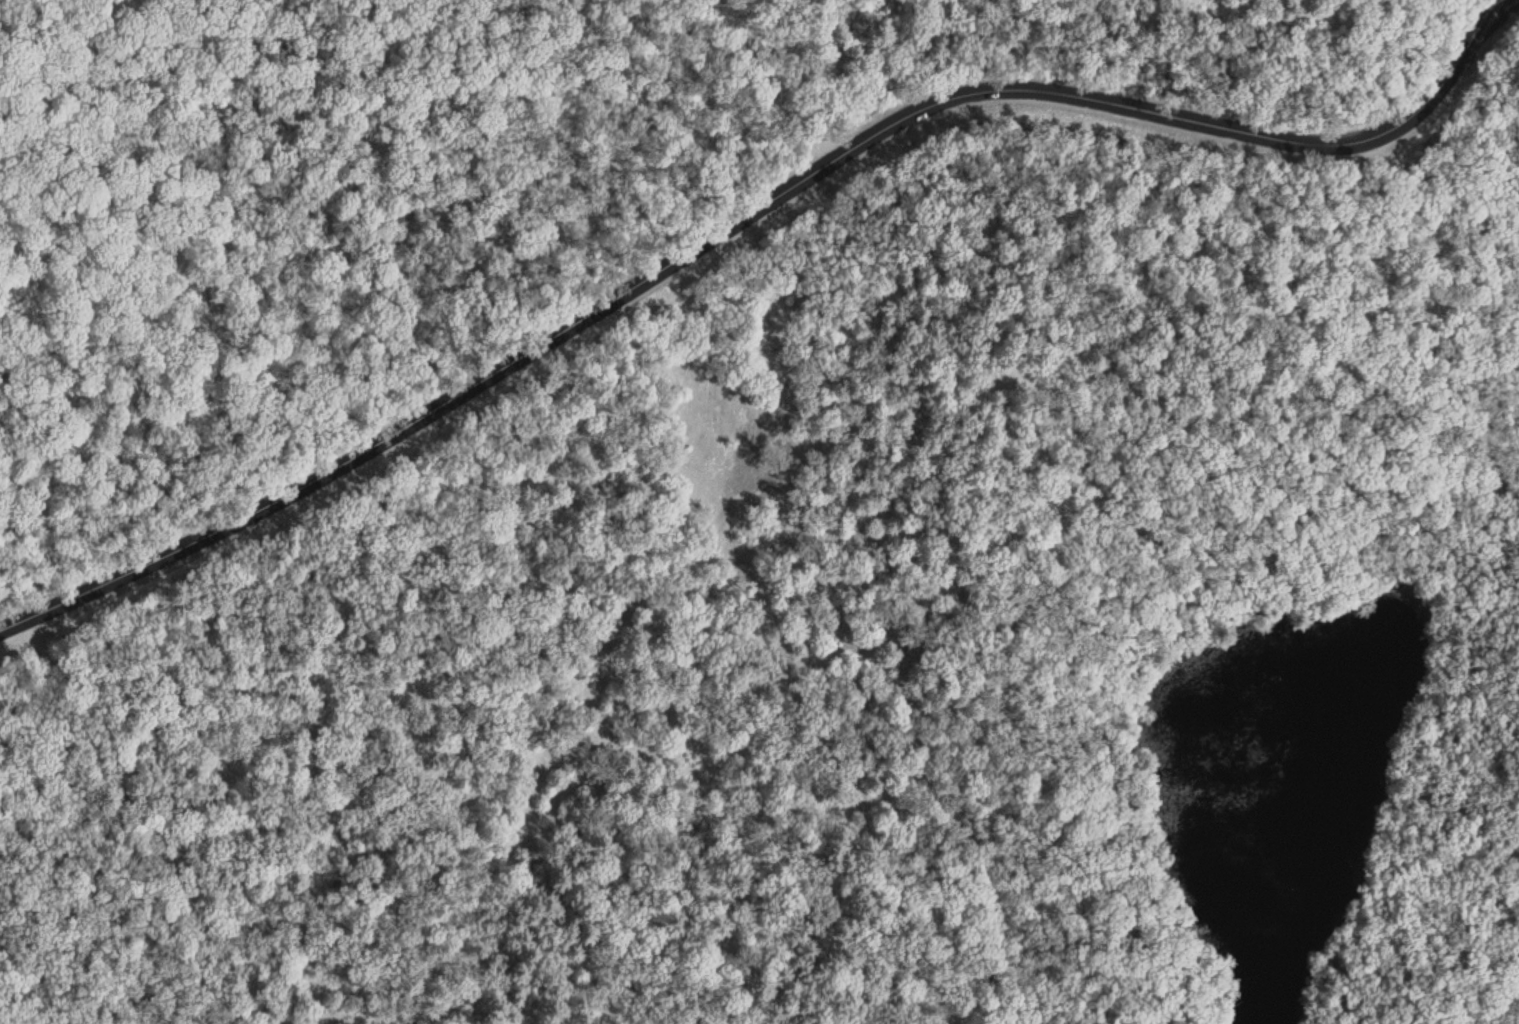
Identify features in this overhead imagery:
road: (827, 78)
road: (744, 208)
road: (944, 474)
road: (1500, 481)
road: (1298, 553)
road: (1442, 721)
road: (1029, 731)
road: (142, 808)
road: (1446, 940)
road: (703, 1015)

